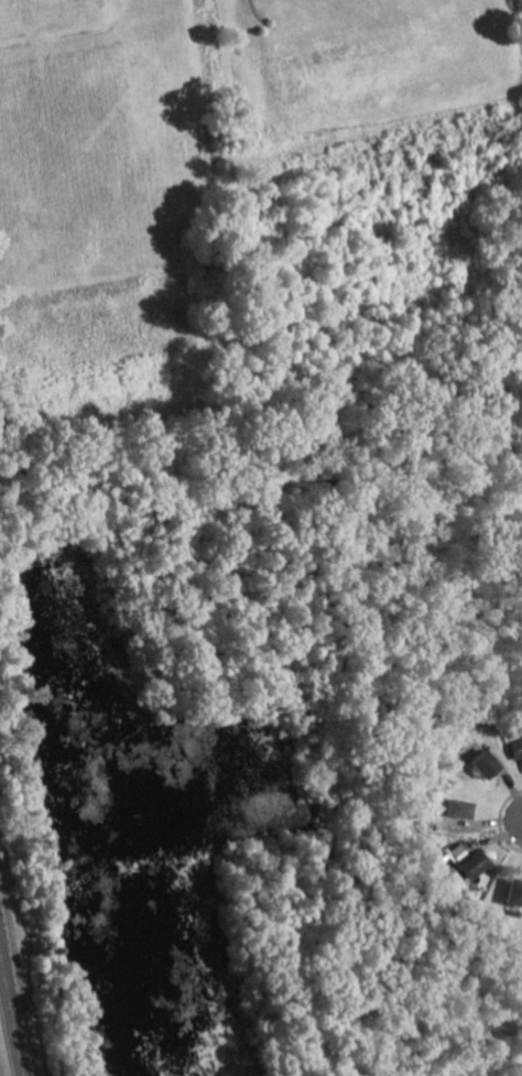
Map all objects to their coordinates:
park: (35, 7)
park: (387, 44)
park: (54, 177)
building: (476, 765)
building: (449, 809)
building: (459, 862)
building: (447, 877)
building: (507, 893)
road: (0, 968)
road: (10, 1019)

